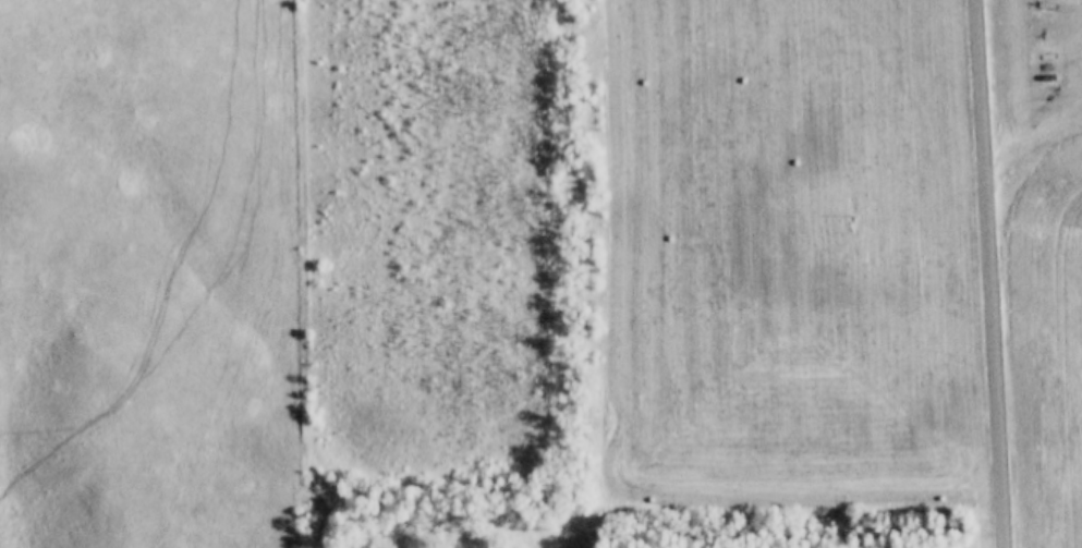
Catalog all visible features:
road: (987, 273)

